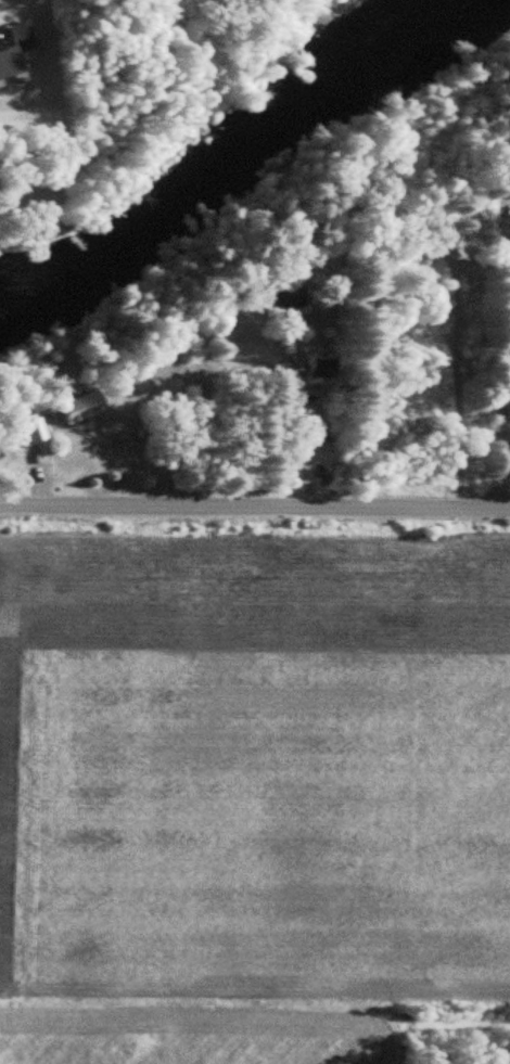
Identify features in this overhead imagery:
building: (16, 54)
river: (242, 156)
building: (289, 295)
building: (329, 369)
road: (505, 372)
building: (86, 408)
road: (254, 505)

